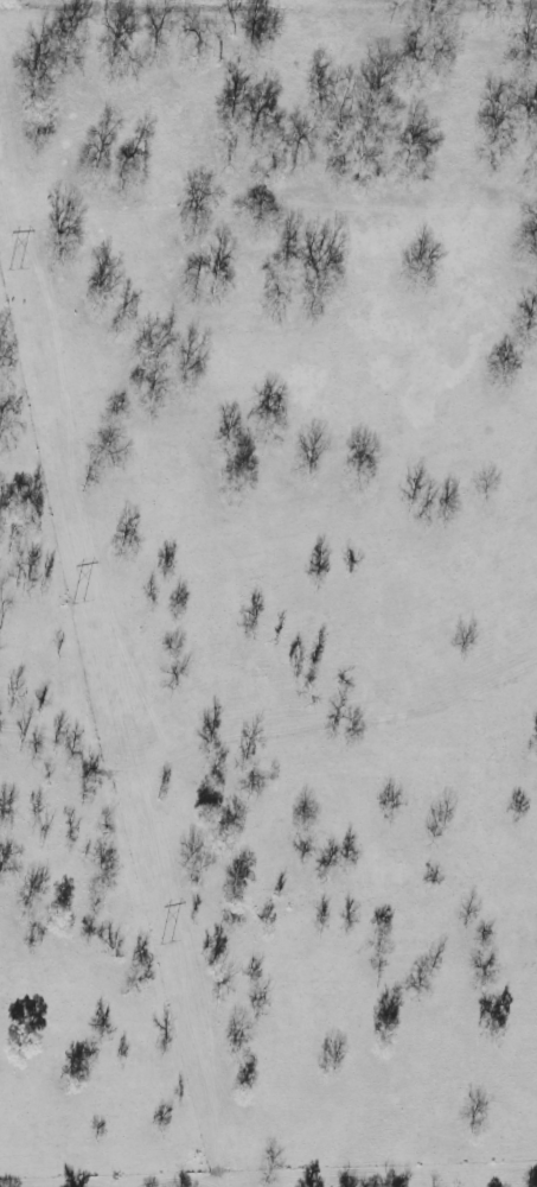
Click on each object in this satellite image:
road: (14, 26)
power tower: (12, 271)
power tower: (77, 604)
power tower: (165, 945)

